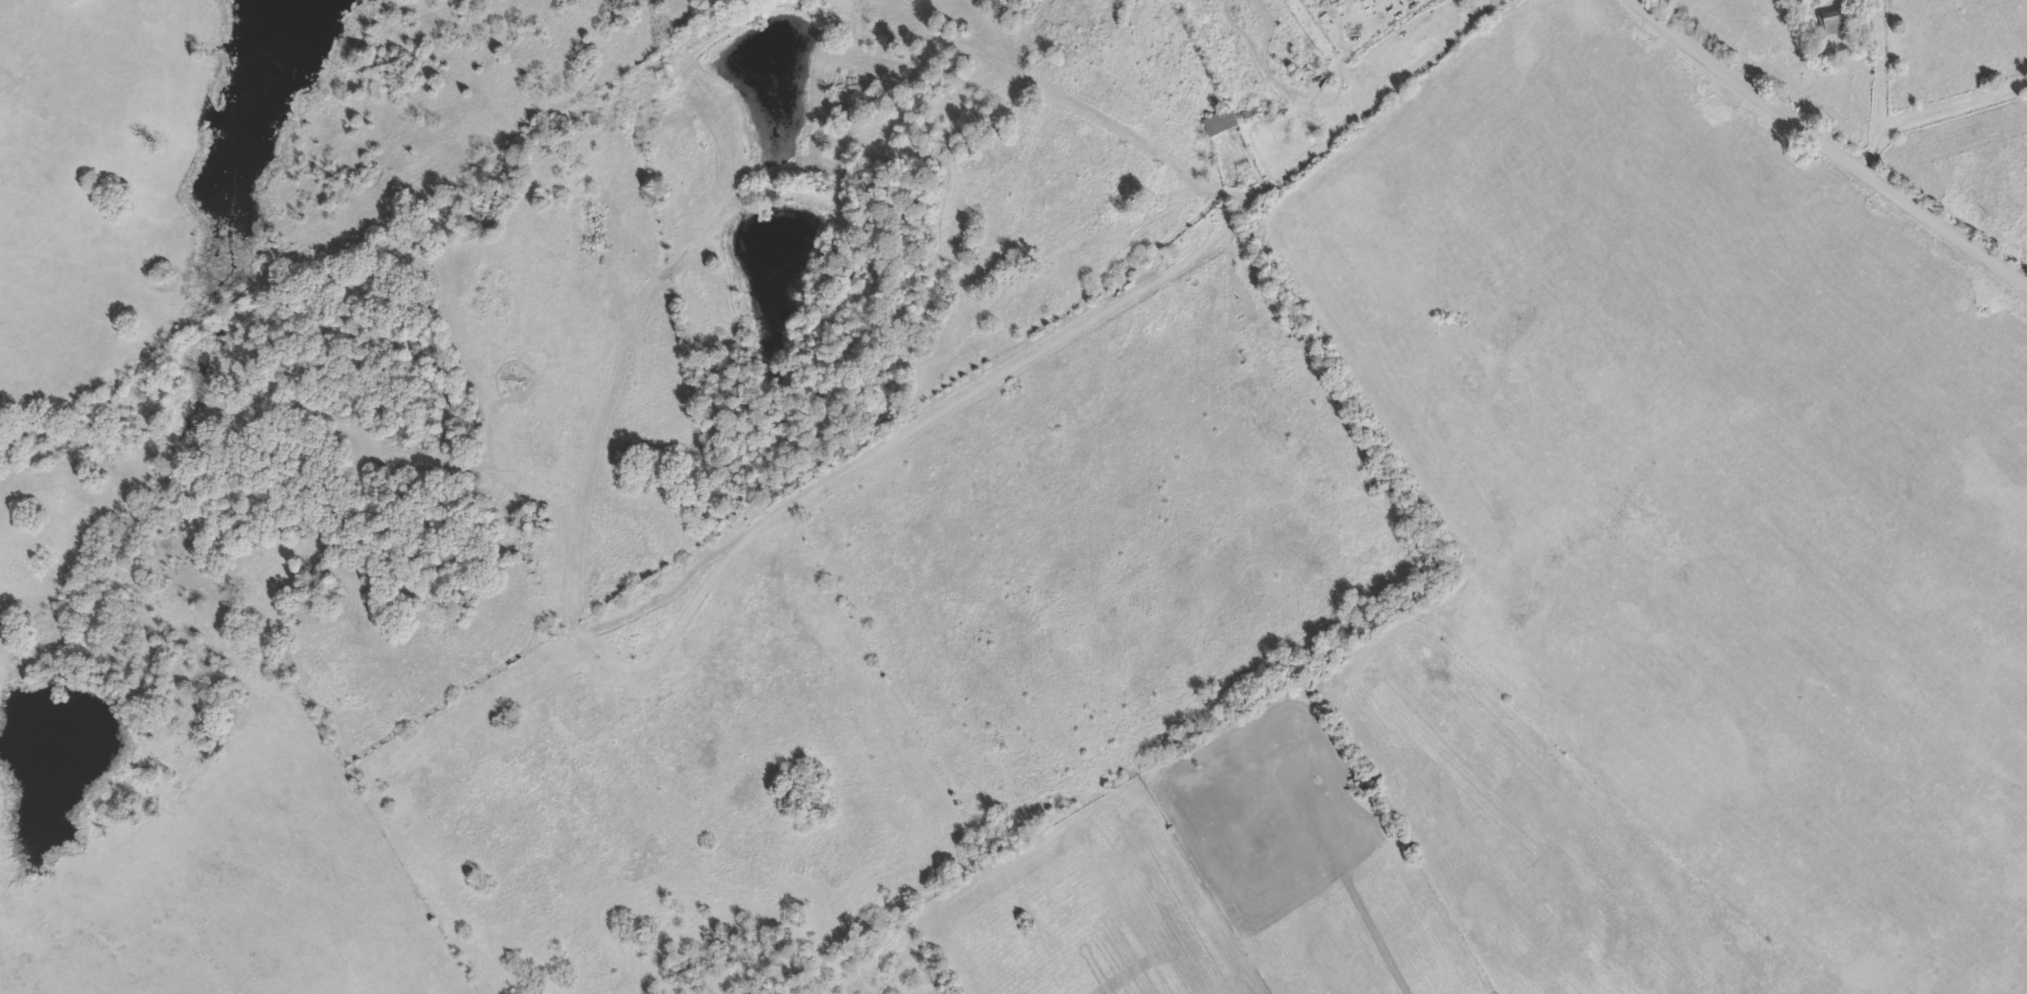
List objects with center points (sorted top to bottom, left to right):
building: (1836, 20)
road: (1880, 86)
road: (1751, 88)
road: (1951, 103)
building: (1220, 121)
road: (1947, 229)
road: (1070, 329)

